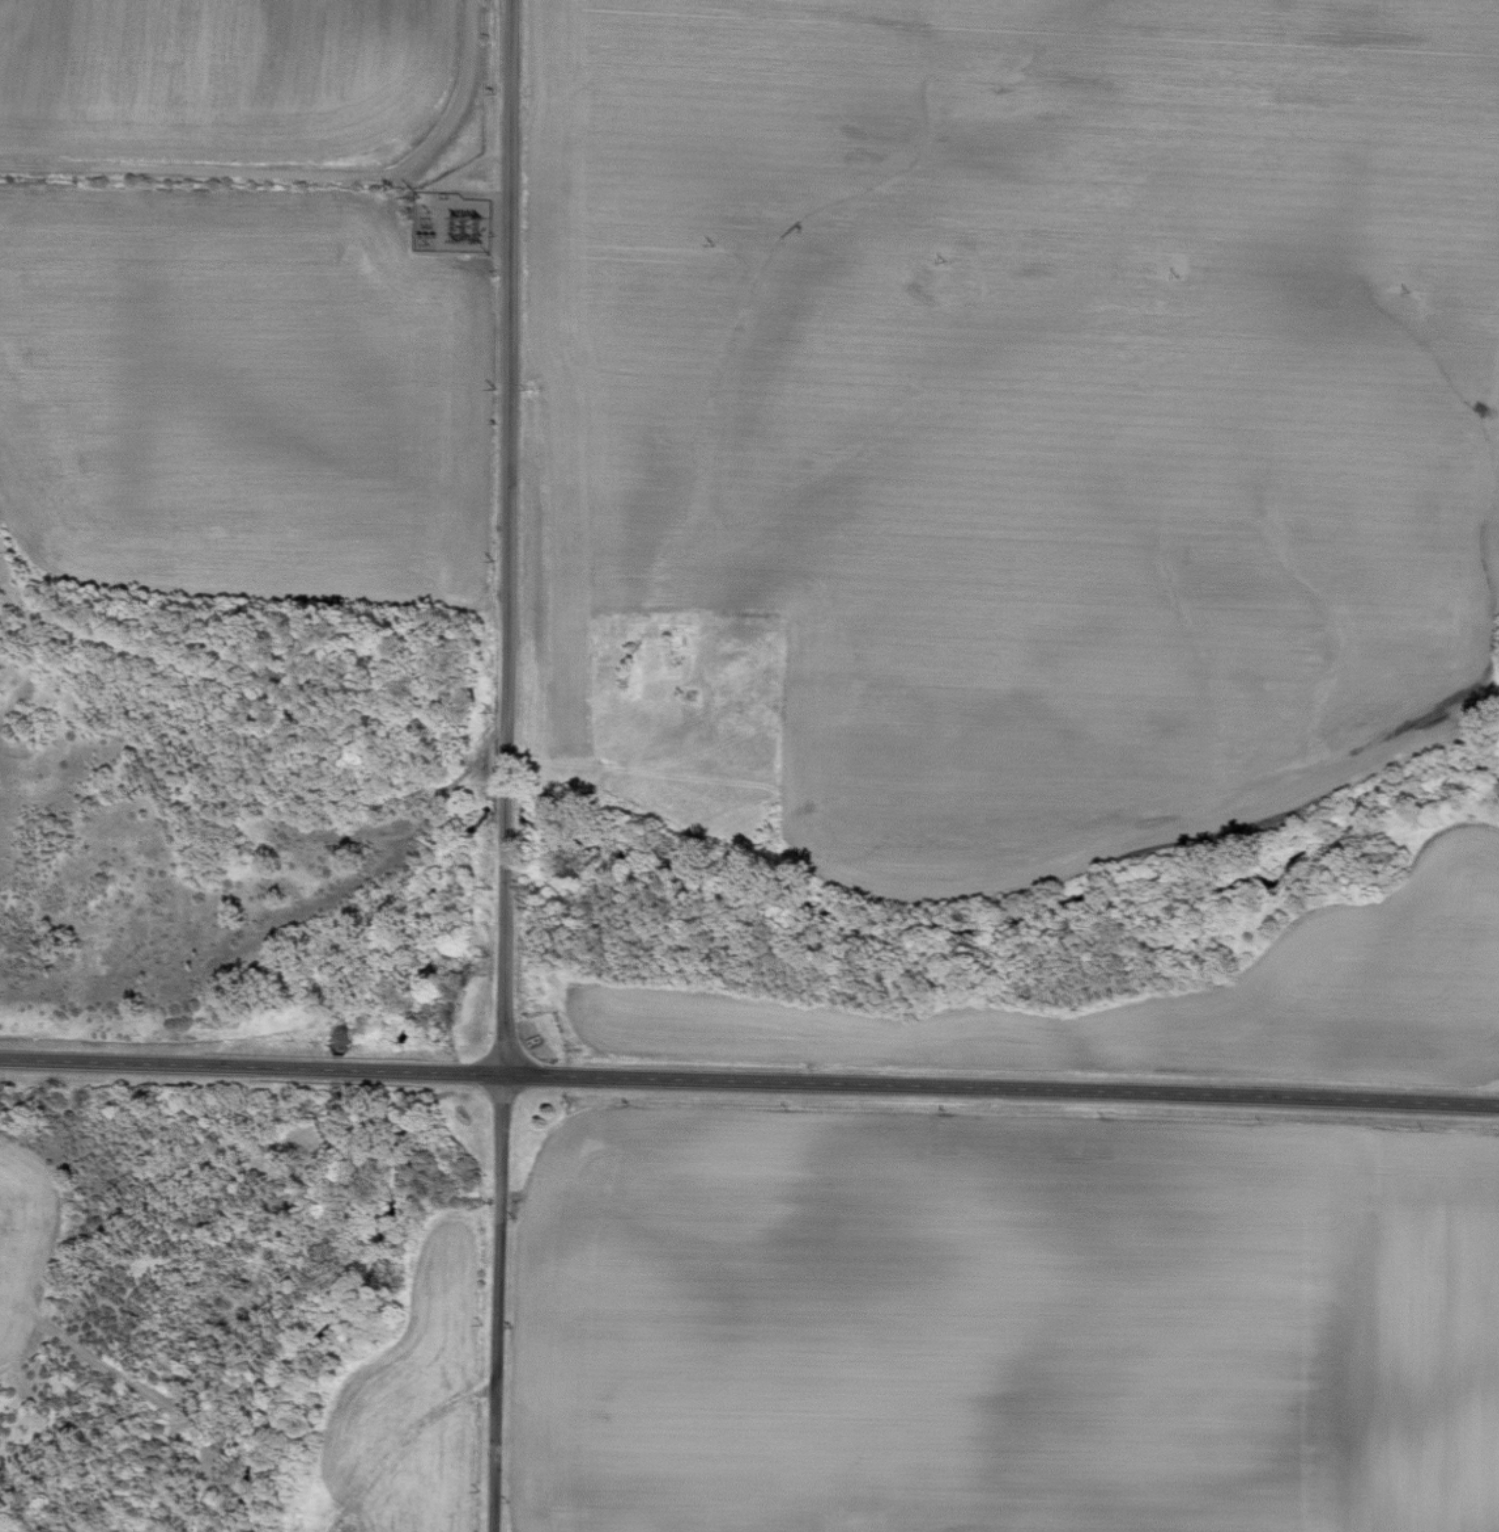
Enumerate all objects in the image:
road: (299, 173)
road: (510, 766)
road: (749, 1084)

